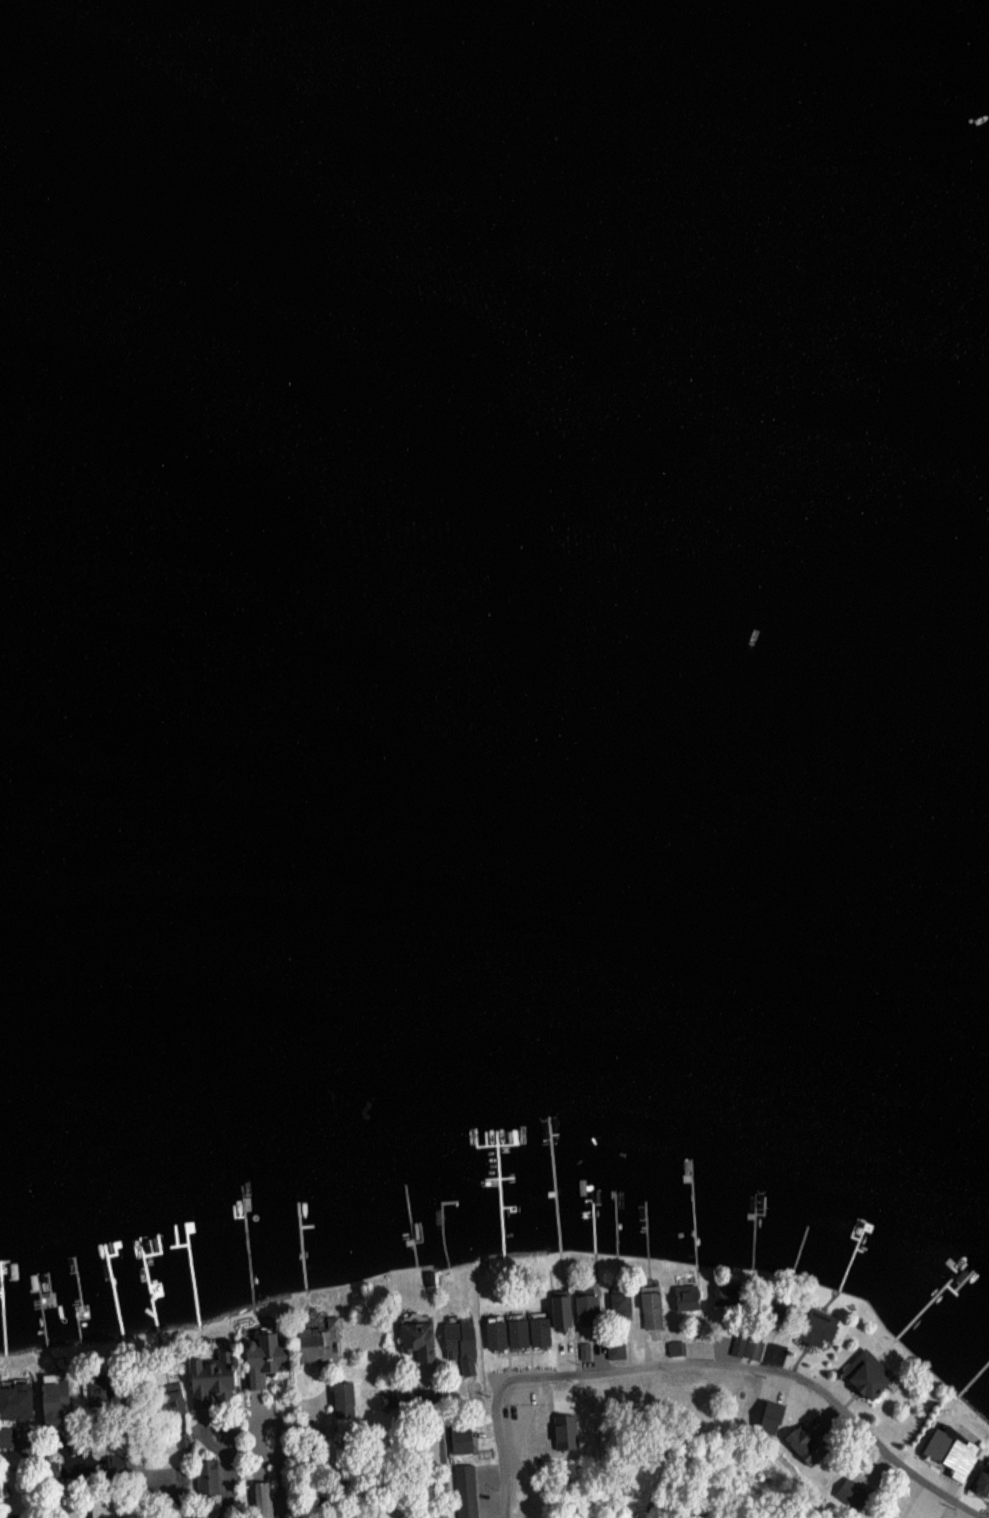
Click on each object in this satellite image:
building: (717, 1293)
building: (684, 1295)
building: (583, 1305)
building: (649, 1306)
building: (555, 1308)
building: (814, 1324)
building: (515, 1332)
building: (416, 1337)
building: (456, 1339)
building: (746, 1346)
building: (584, 1349)
building: (258, 1358)
building: (864, 1372)
building: (203, 1376)
road: (509, 1382)
building: (91, 1385)
building: (49, 1396)
building: (13, 1399)
building: (169, 1399)
road: (828, 1402)
building: (341, 1403)
building: (764, 1414)
building: (562, 1430)
building: (459, 1438)
building: (793, 1439)
building: (948, 1449)
building: (206, 1475)
building: (981, 1479)
building: (464, 1481)

